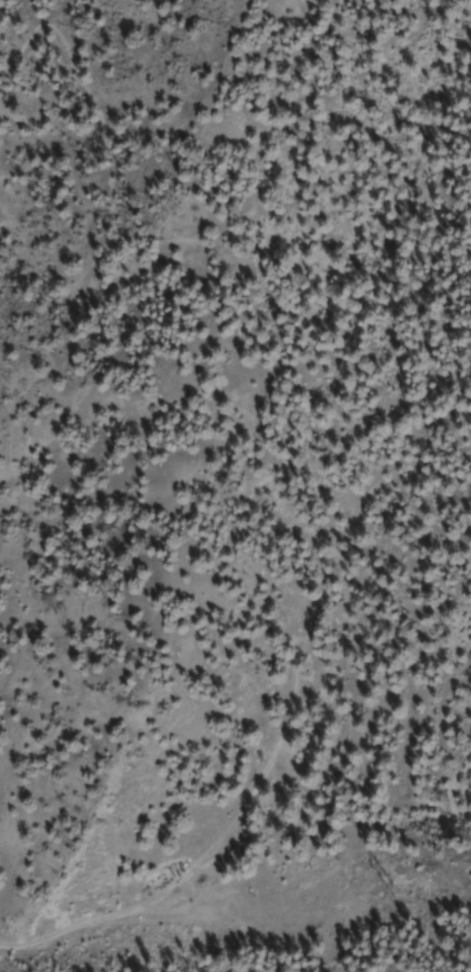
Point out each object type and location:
power tower: (393, 891)

